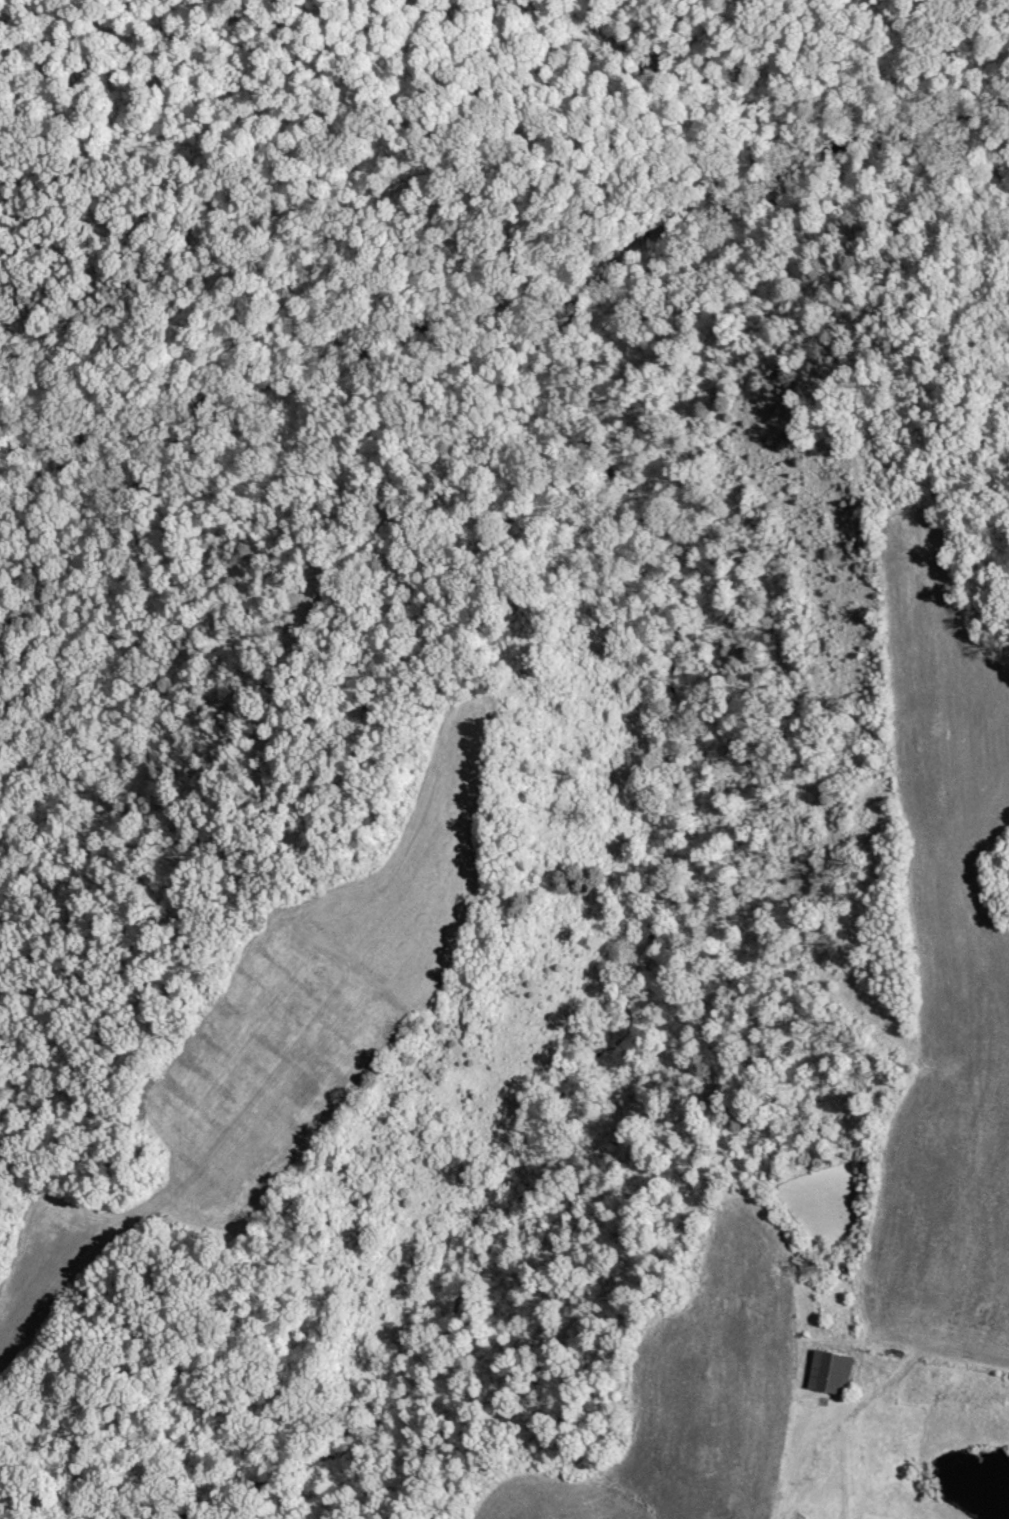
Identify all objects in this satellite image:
building: (833, 1371)

